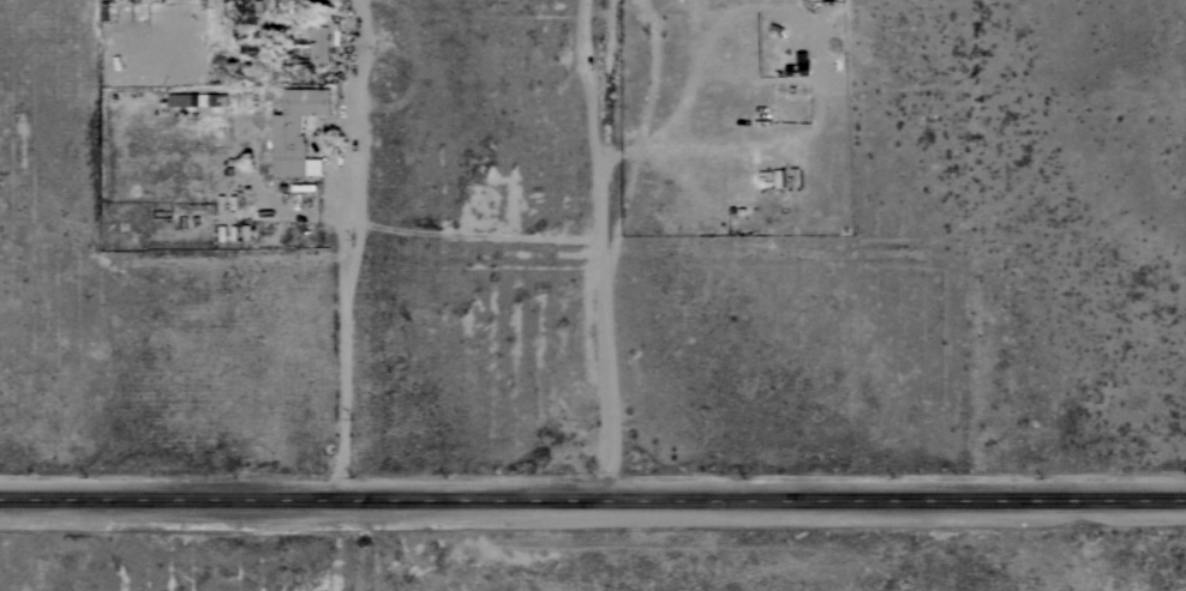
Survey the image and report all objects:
building: (290, 5)
building: (319, 37)
building: (217, 98)
building: (295, 131)
road: (341, 249)
road: (598, 251)
road: (593, 502)

